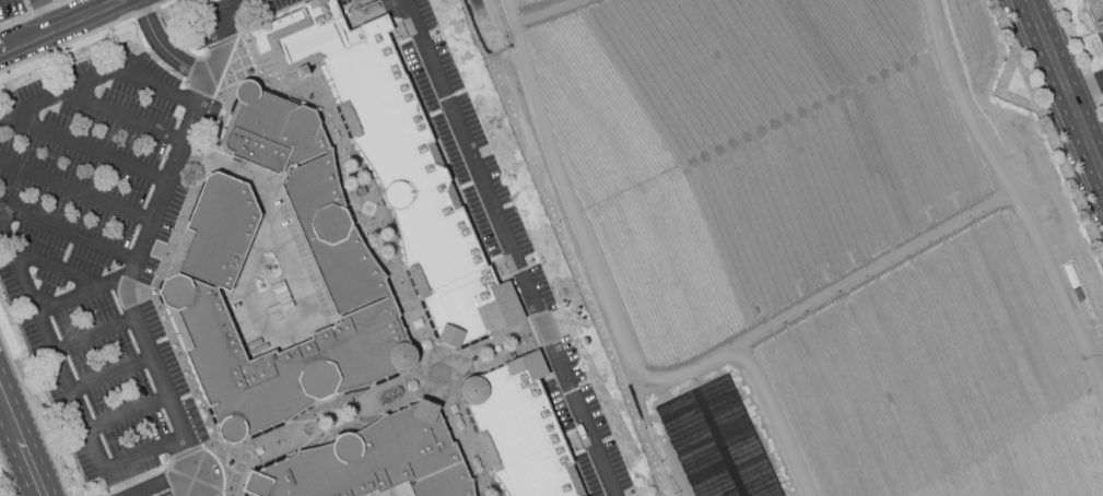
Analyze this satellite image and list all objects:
road: (162, 3)
crop: (528, 3)
building: (1094, 9)
road: (143, 11)
road: (45, 14)
road: (81, 16)
parking lot: (223, 17)
road: (1075, 36)
road: (20, 44)
road: (67, 44)
road: (164, 48)
road: (101, 76)
road: (1095, 84)
road: (1084, 87)
road: (1064, 88)
road: (998, 93)
road: (1102, 98)
road: (126, 118)
road: (1046, 131)
road: (90, 150)
crop: (744, 153)
building: (396, 163)
road: (78, 191)
fountain: (366, 210)
road: (70, 235)
road: (148, 244)
road: (385, 247)
road: (509, 248)
parking lot: (99, 251)
parking lot: (516, 255)
building: (207, 265)
road: (57, 268)
road: (87, 291)
road: (301, 294)
road: (96, 335)
road: (113, 375)
crop: (939, 379)
road: (69, 388)
road: (373, 402)
road: (40, 413)
road: (129, 413)
building: (519, 430)
road: (20, 448)
building: (374, 461)
road: (8, 475)
road: (141, 481)
road: (164, 481)
road: (189, 485)
parking lot: (394, 492)
parking lot: (230, 495)

